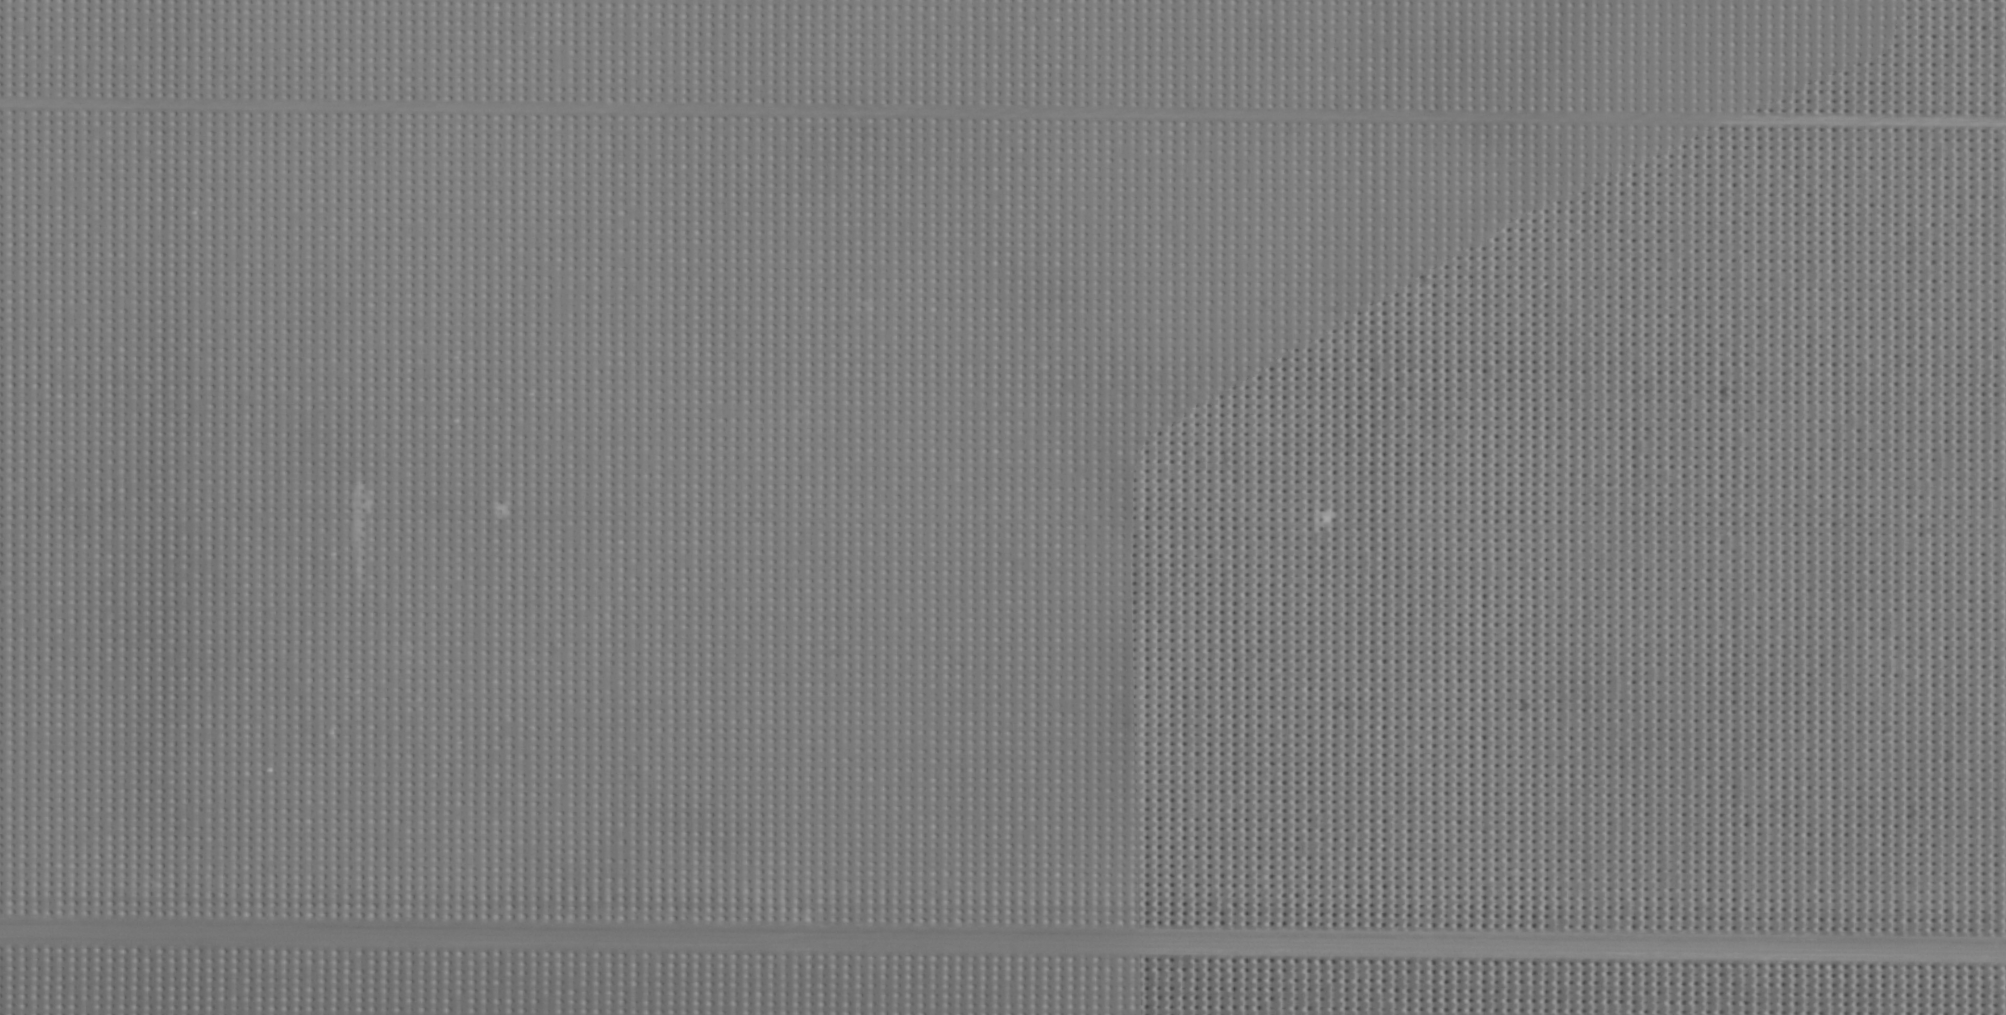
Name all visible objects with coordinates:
crop: (1003, 507)

